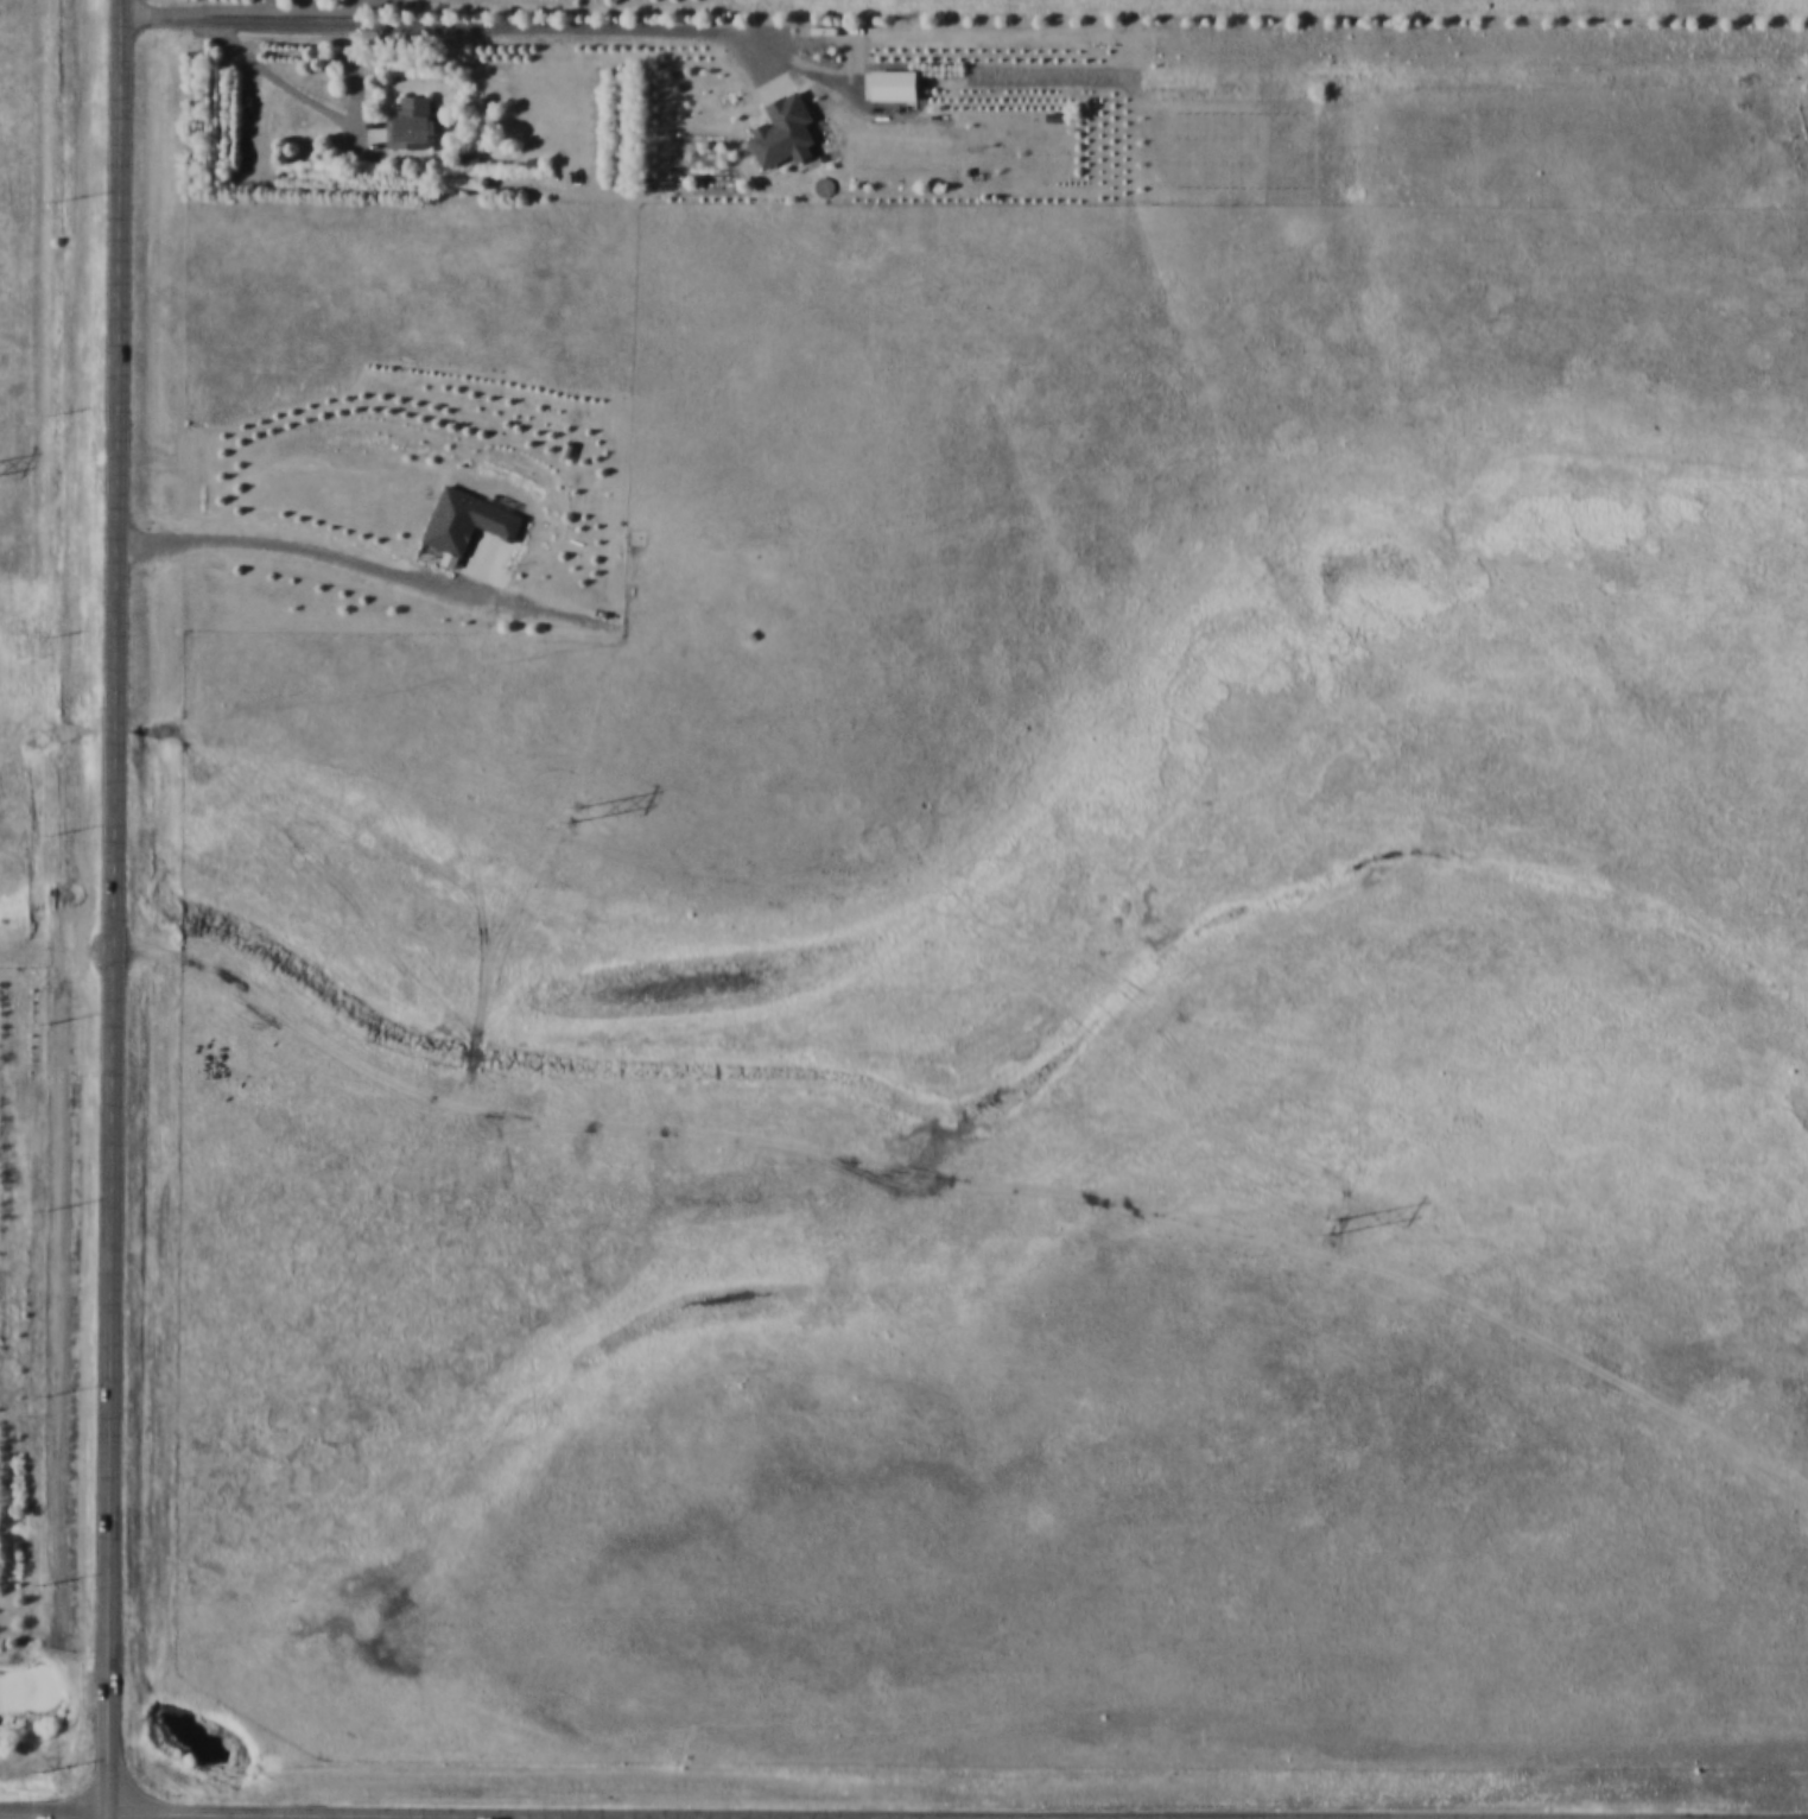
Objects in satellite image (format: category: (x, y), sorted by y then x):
road: (424, 26)
building: (406, 123)
building: (471, 519)
power tower: (582, 817)
road: (113, 909)
power tower: (1338, 1228)
river: (24, 1698)
river: (108, 1709)
river: (199, 1747)
river: (233, 1796)
road: (336, 1817)
road: (323, 1818)

